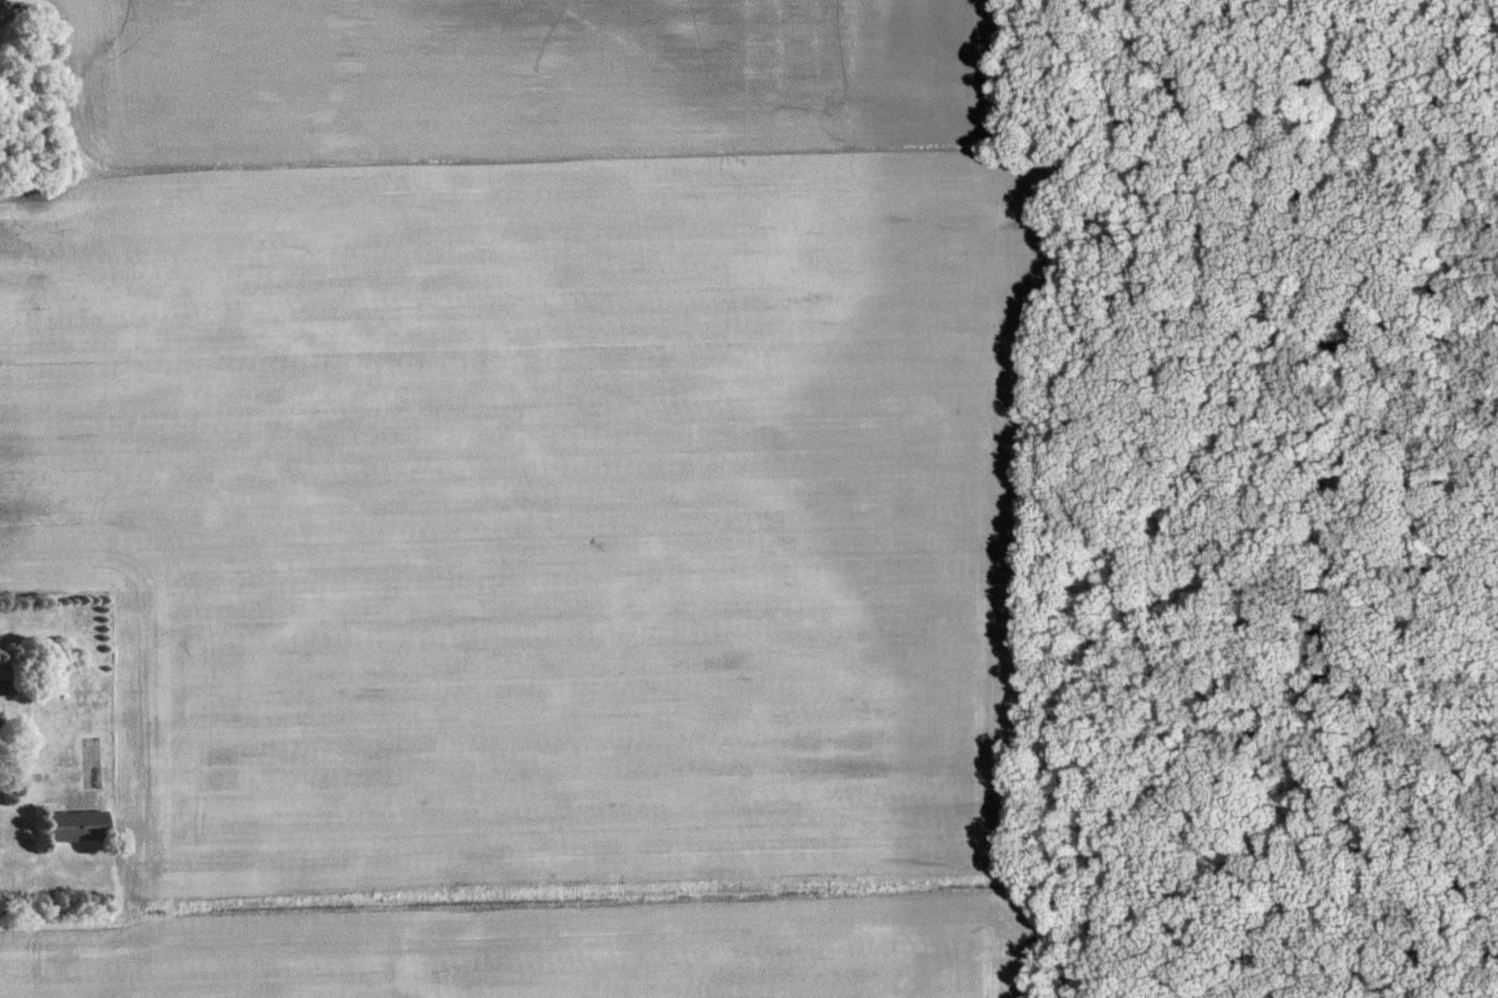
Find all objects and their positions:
building: (78, 827)

